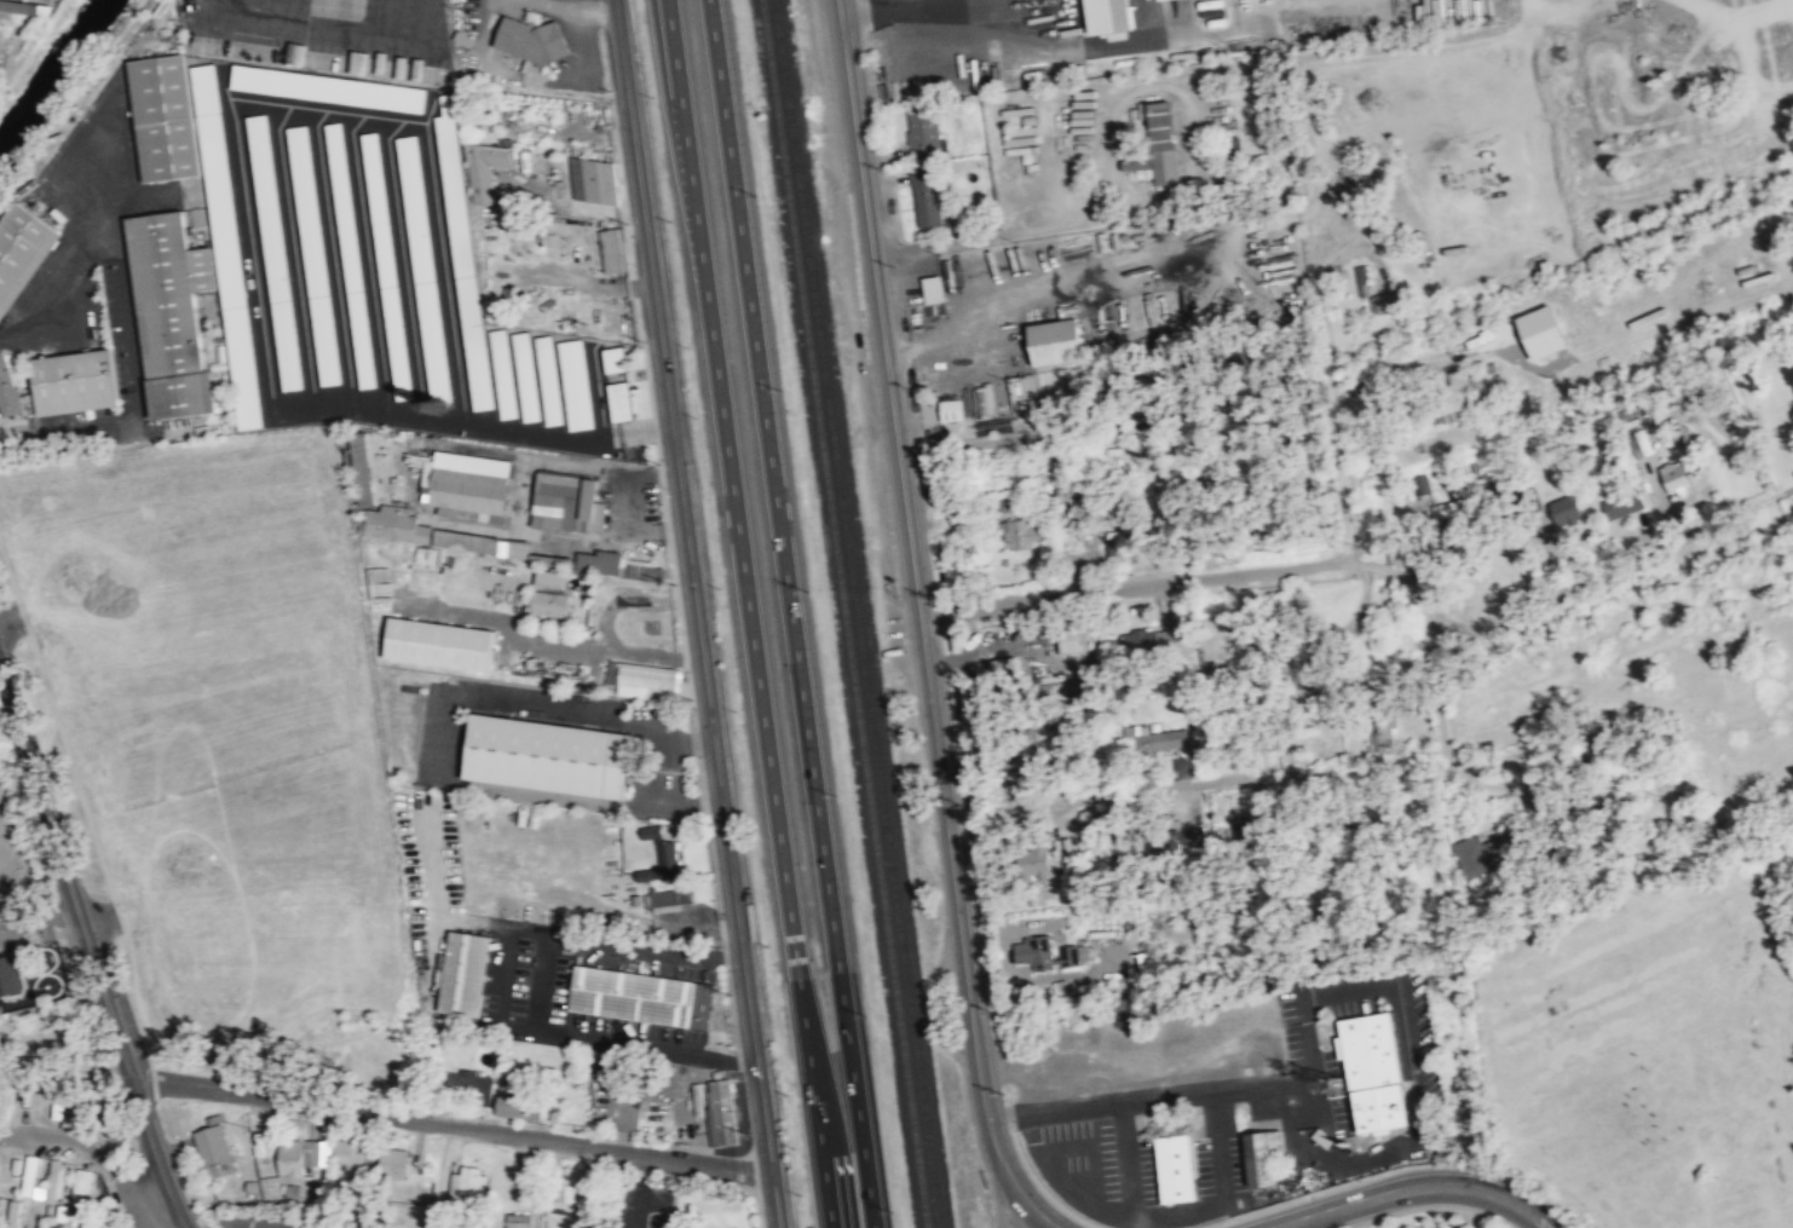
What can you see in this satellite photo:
building: (25, 5)
road: (580, 8)
building: (1111, 15)
road: (334, 22)
building: (0, 31)
building: (530, 39)
road: (1356, 54)
building: (327, 88)
road: (298, 104)
quarry: (1644, 111)
building: (163, 116)
building: (924, 131)
building: (1164, 142)
building: (1140, 166)
building: (488, 171)
building: (594, 179)
building: (928, 198)
road: (1563, 240)
building: (226, 243)
building: (22, 249)
building: (615, 249)
road: (294, 252)
building: (273, 253)
building: (462, 254)
building: (312, 255)
road: (333, 255)
building: (350, 255)
road: (369, 260)
road: (403, 265)
building: (386, 266)
building: (422, 267)
building: (932, 288)
building: (1386, 302)
building: (169, 311)
building: (1546, 330)
building: (1057, 341)
building: (613, 361)
building: (503, 374)
building: (526, 380)
building: (548, 380)
building: (73, 382)
building: (575, 384)
building: (7, 391)
building: (1466, 394)
building: (619, 402)
building: (951, 409)
road: (603, 422)
building: (364, 467)
building: (1677, 477)
building: (465, 485)
building: (1422, 486)
road: (520, 498)
building: (566, 503)
building: (1621, 503)
building: (1453, 508)
building: (1568, 509)
building: (1026, 534)
building: (462, 540)
building: (514, 548)
building: (1117, 552)
building: (583, 561)
building: (645, 571)
building: (549, 578)
road: (1132, 586)
building: (547, 601)
road: (697, 613)
road: (749, 613)
road: (791, 613)
railway: (844, 613)
railway: (858, 613)
road: (922, 624)
building: (1159, 639)
building: (1074, 640)
building: (438, 644)
road: (606, 646)
building: (1004, 673)
building: (648, 676)
building: (1314, 681)
building: (1385, 732)
building: (1154, 738)
building: (1605, 745)
road: (446, 746)
building: (548, 754)
road: (965, 818)
building: (1197, 836)
building: (1071, 853)
building: (658, 854)
building: (1487, 854)
building: (1040, 860)
building: (667, 897)
road: (90, 950)
building: (1036, 952)
building: (1074, 953)
building: (465, 973)
building: (8, 975)
building: (641, 996)
road: (1402, 1009)
building: (1371, 1073)
building: (468, 1088)
building: (5, 1092)
road: (1316, 1094)
building: (57, 1099)
building: (519, 1100)
road: (1151, 1100)
road: (1122, 1108)
building: (723, 1111)
road: (451, 1129)
building: (1322, 1138)
road: (1291, 1142)
road: (1092, 1148)
road: (1217, 1148)
building: (215, 1151)
building: (301, 1155)
building: (356, 1155)
building: (1264, 1158)
building: (396, 1164)
road: (1128, 1166)
building: (1174, 1169)
building: (31, 1174)
building: (54, 1178)
building: (571, 1184)
road: (1413, 1186)
building: (83, 1187)
building: (468, 1187)
building: (12, 1213)
building: (62, 1213)
road: (1118, 1215)
building: (518, 1221)
building: (113, 1224)
road: (1292, 1226)

